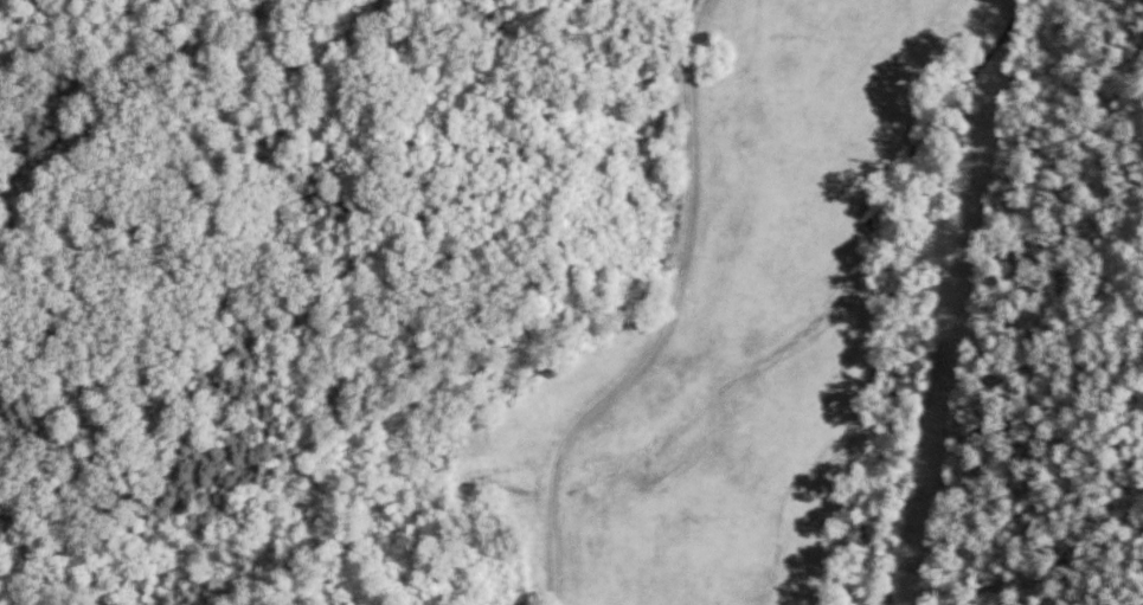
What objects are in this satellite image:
road: (681, 323)

